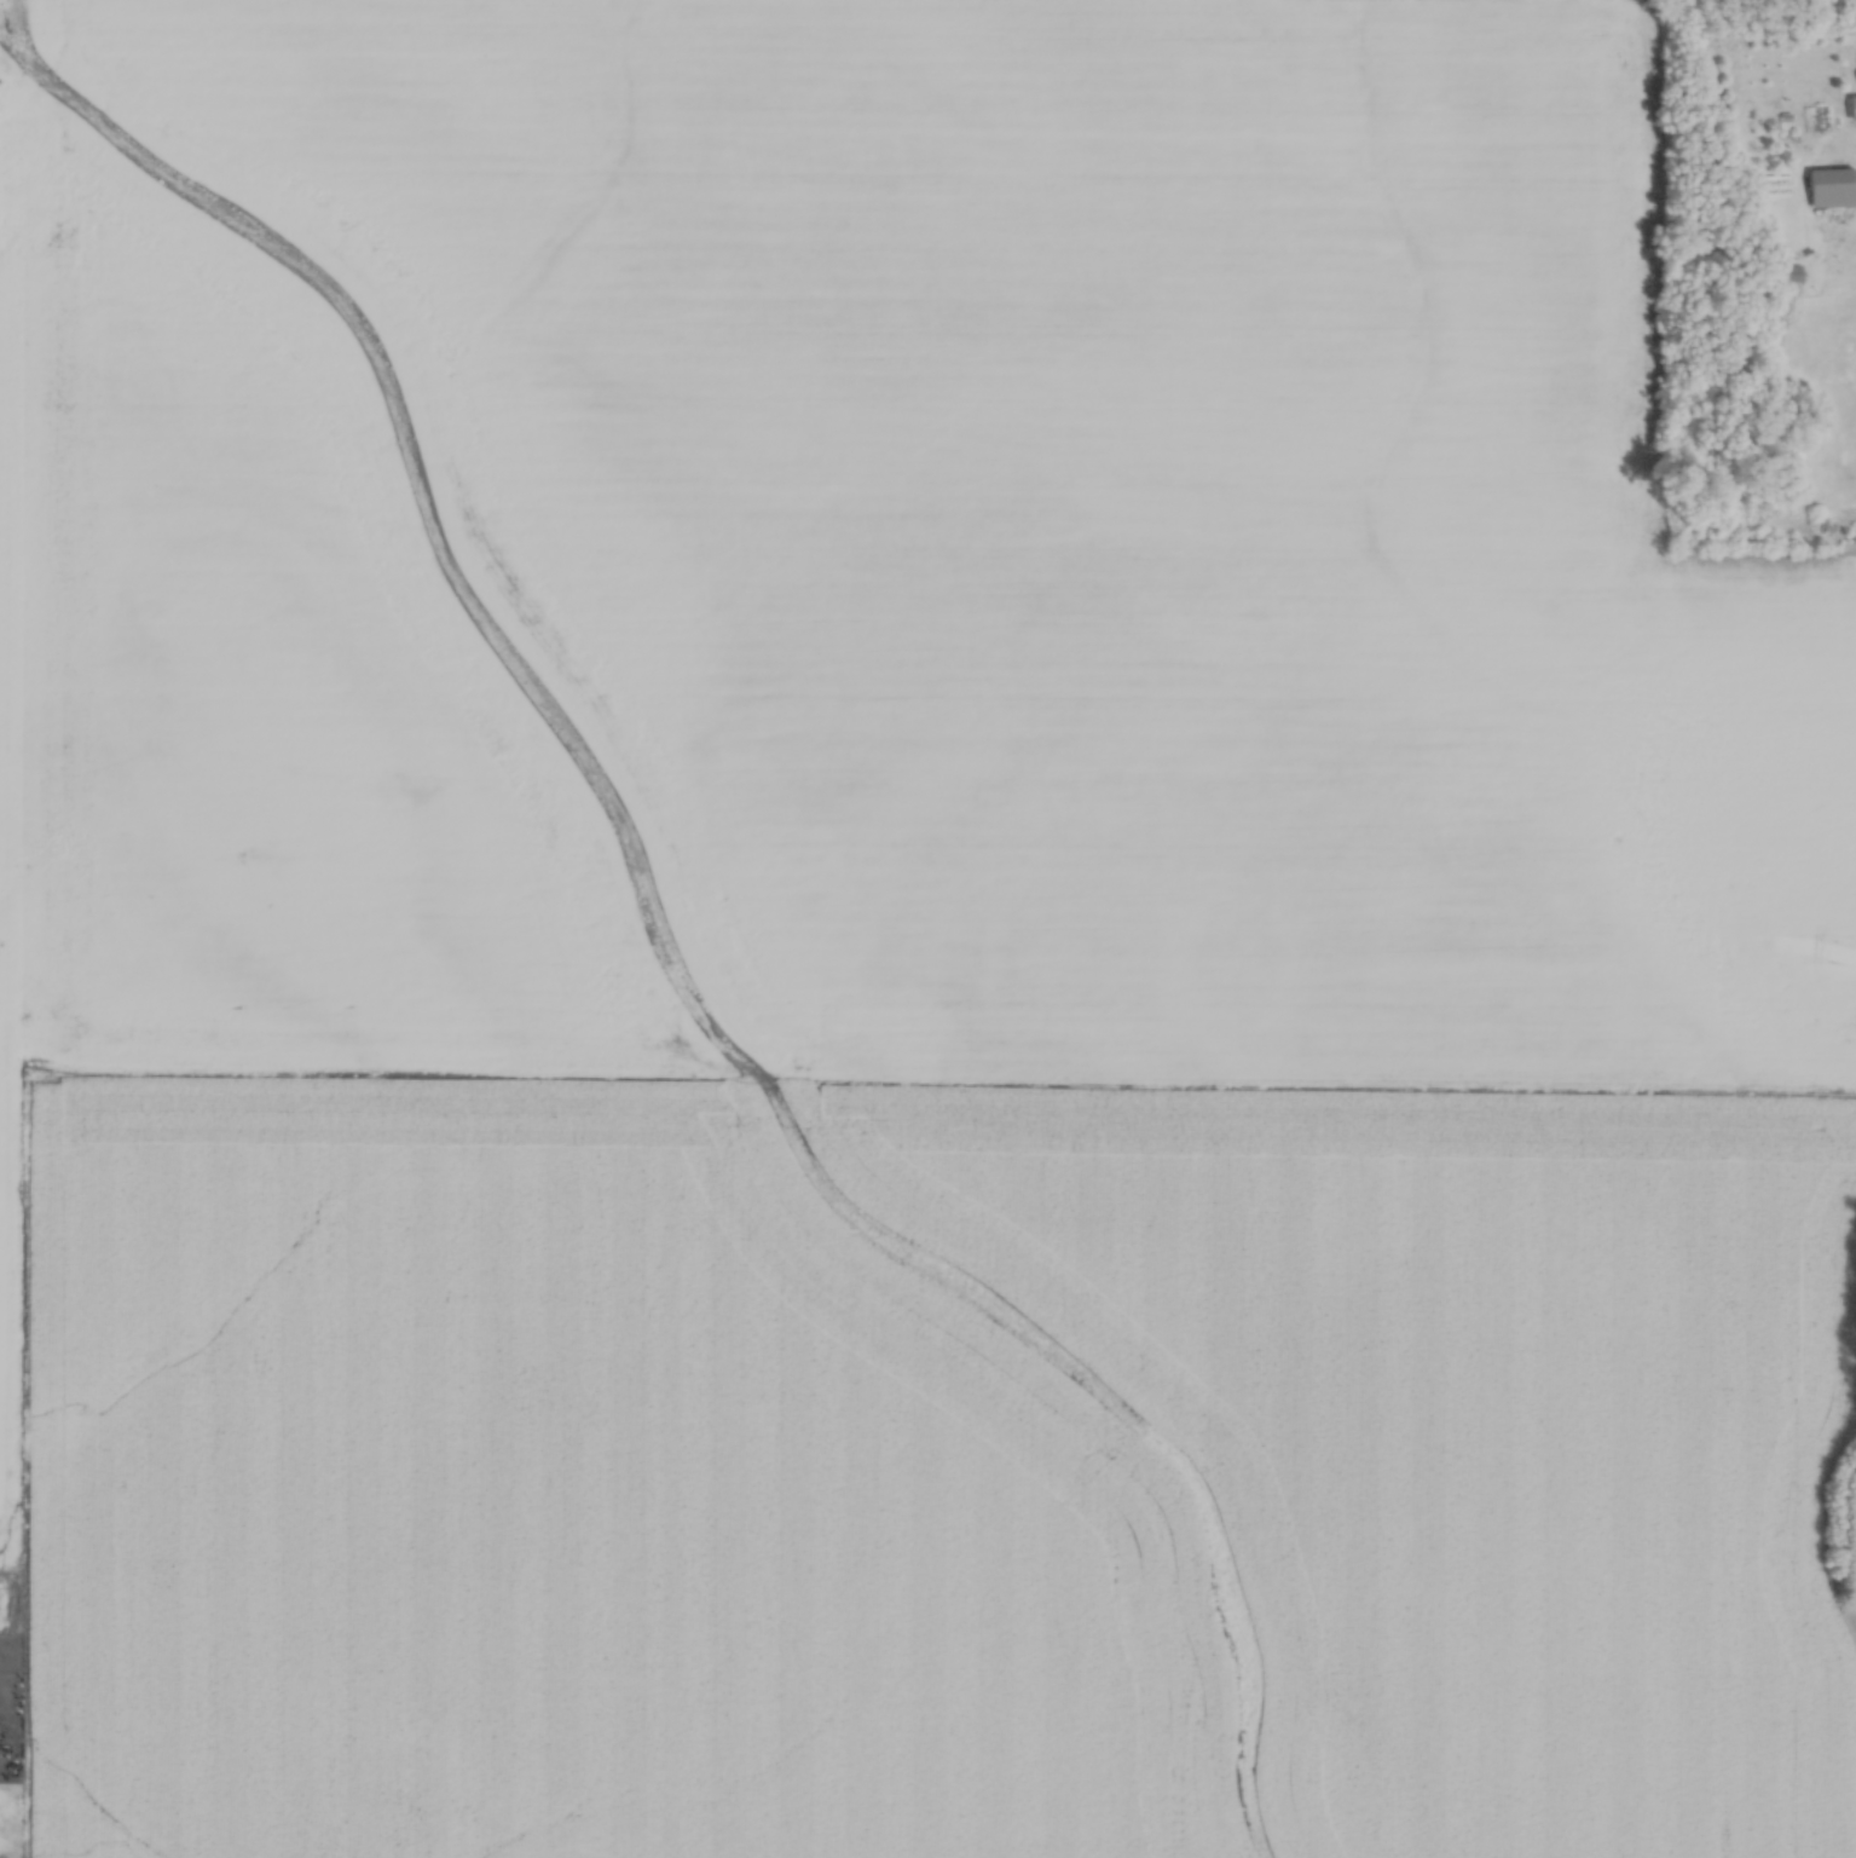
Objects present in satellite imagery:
building: (1850, 104)
building: (1829, 184)
building: (1792, 269)

